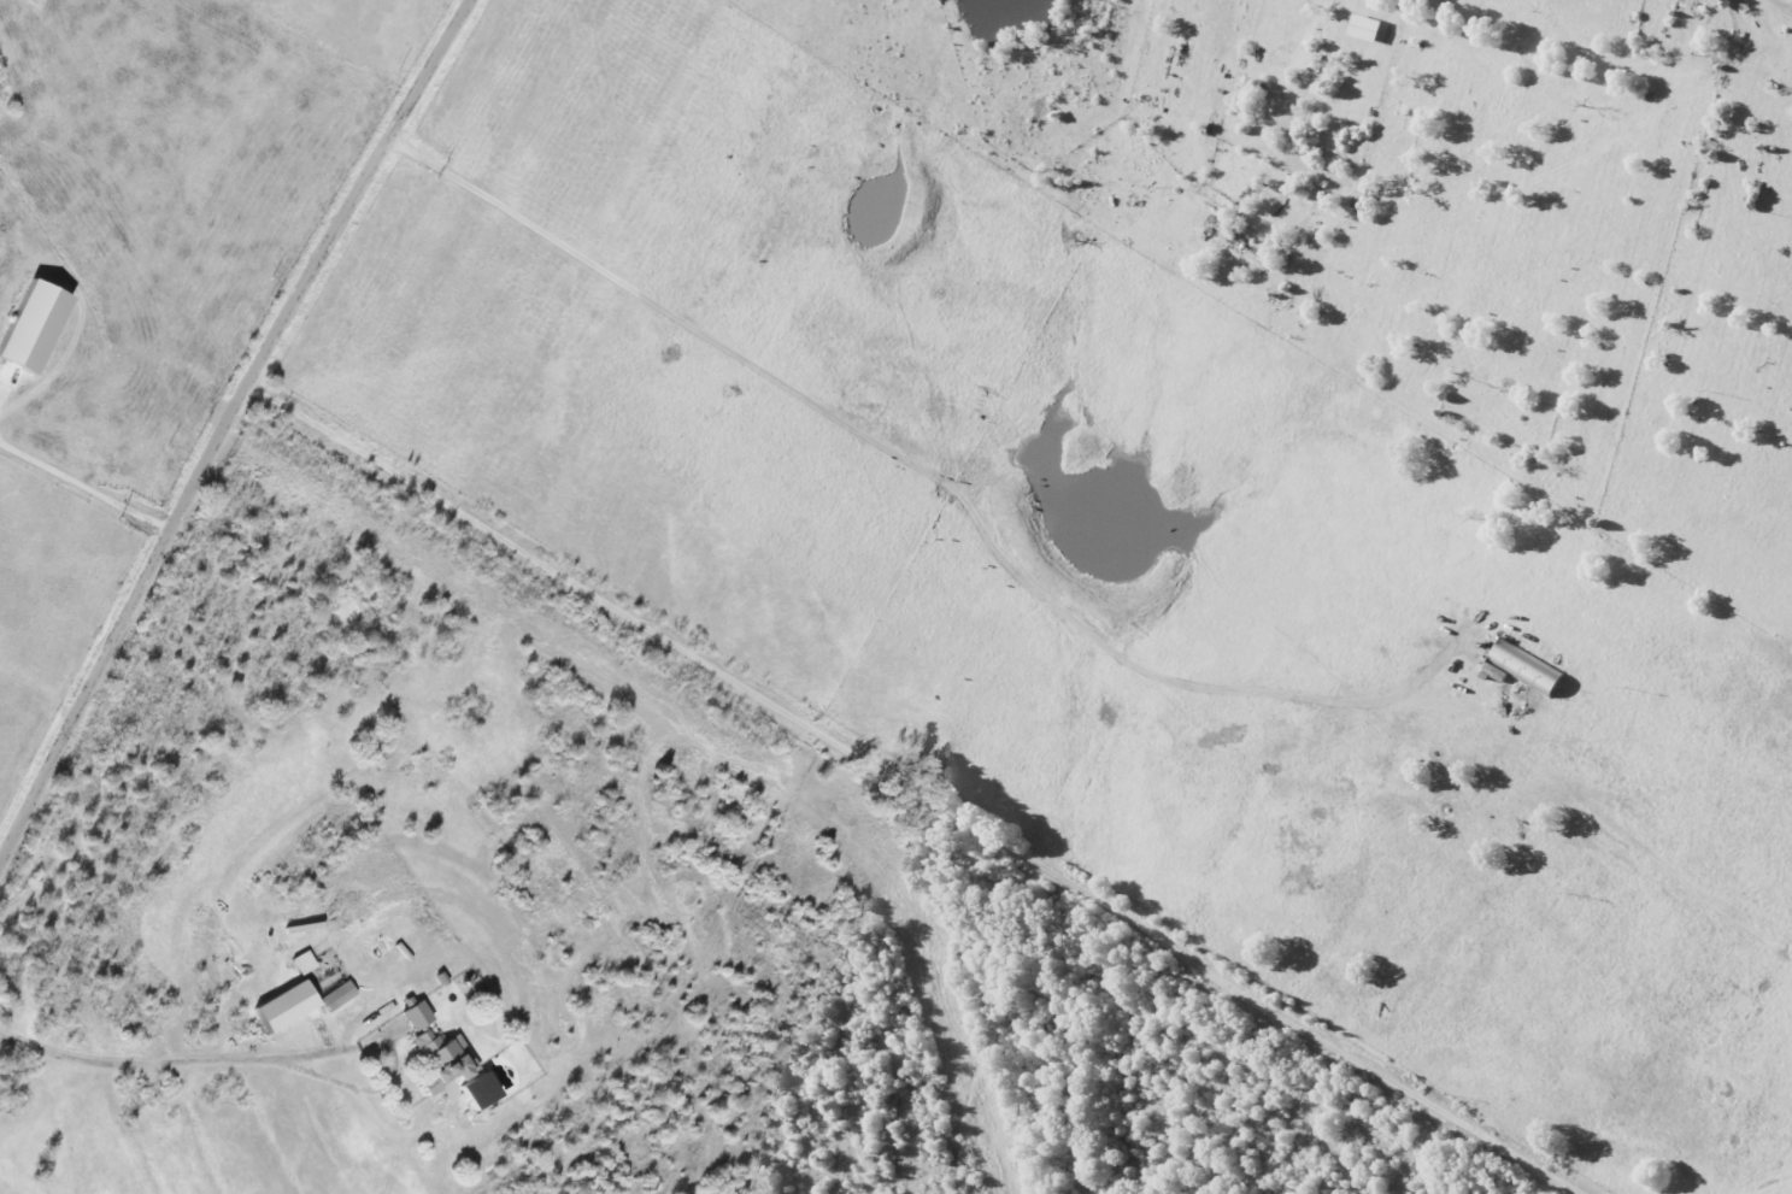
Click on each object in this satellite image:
building: (1368, 28)
building: (36, 325)
road: (225, 427)
road: (918, 477)
road: (84, 486)
road: (912, 778)
building: (340, 995)
building: (290, 1005)
building: (418, 1014)
building: (445, 1059)
road: (161, 1063)

